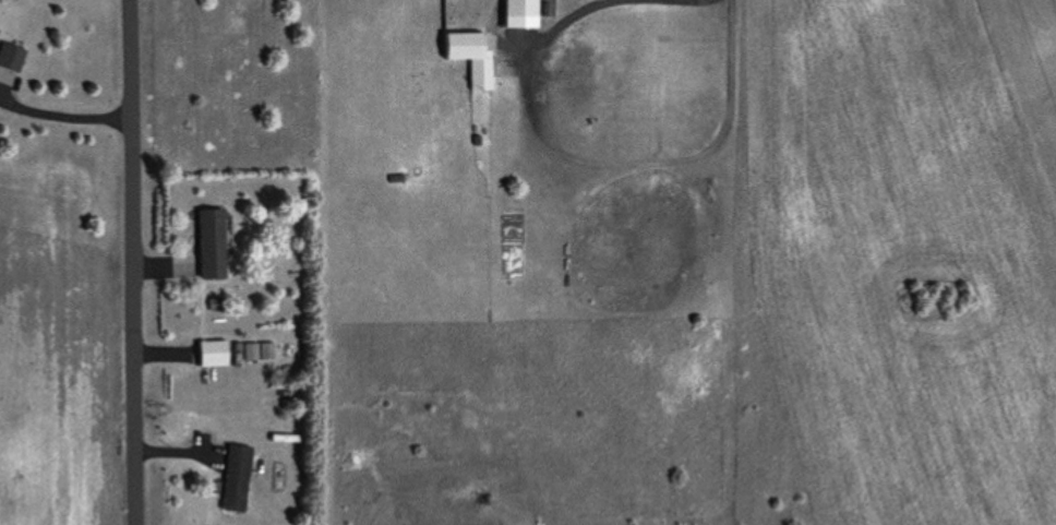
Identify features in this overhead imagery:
building: (518, 14)
building: (10, 57)
building: (469, 57)
road: (60, 109)
road: (562, 157)
building: (207, 243)
road: (131, 262)
airport: (911, 262)
crop: (62, 339)
building: (257, 351)
building: (209, 354)
building: (233, 478)

